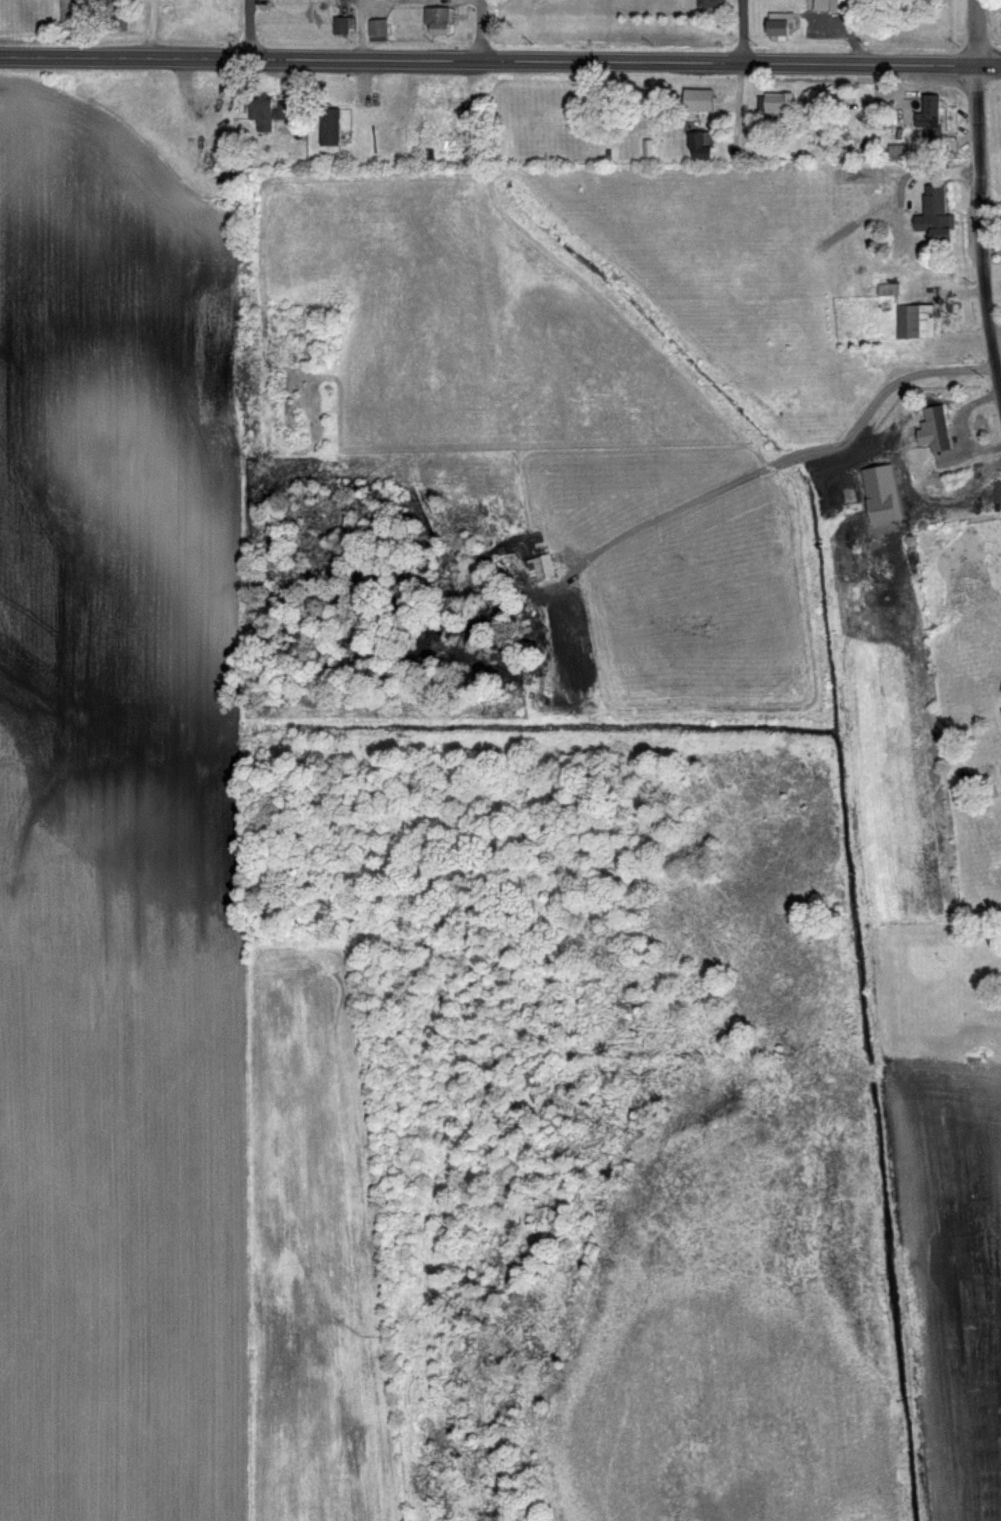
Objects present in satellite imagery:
building: (709, 3)
building: (837, 6)
building: (436, 21)
building: (777, 25)
building: (338, 26)
road: (247, 29)
building: (376, 30)
road: (475, 30)
road: (740, 30)
road: (977, 32)
road: (34, 58)
road: (534, 60)
building: (433, 94)
building: (697, 100)
building: (774, 104)
building: (266, 112)
building: (929, 119)
building: (328, 127)
building: (699, 145)
building: (940, 229)
road: (981, 239)
building: (888, 288)
building: (914, 321)
building: (934, 428)
building: (896, 504)
building: (1000, 710)

